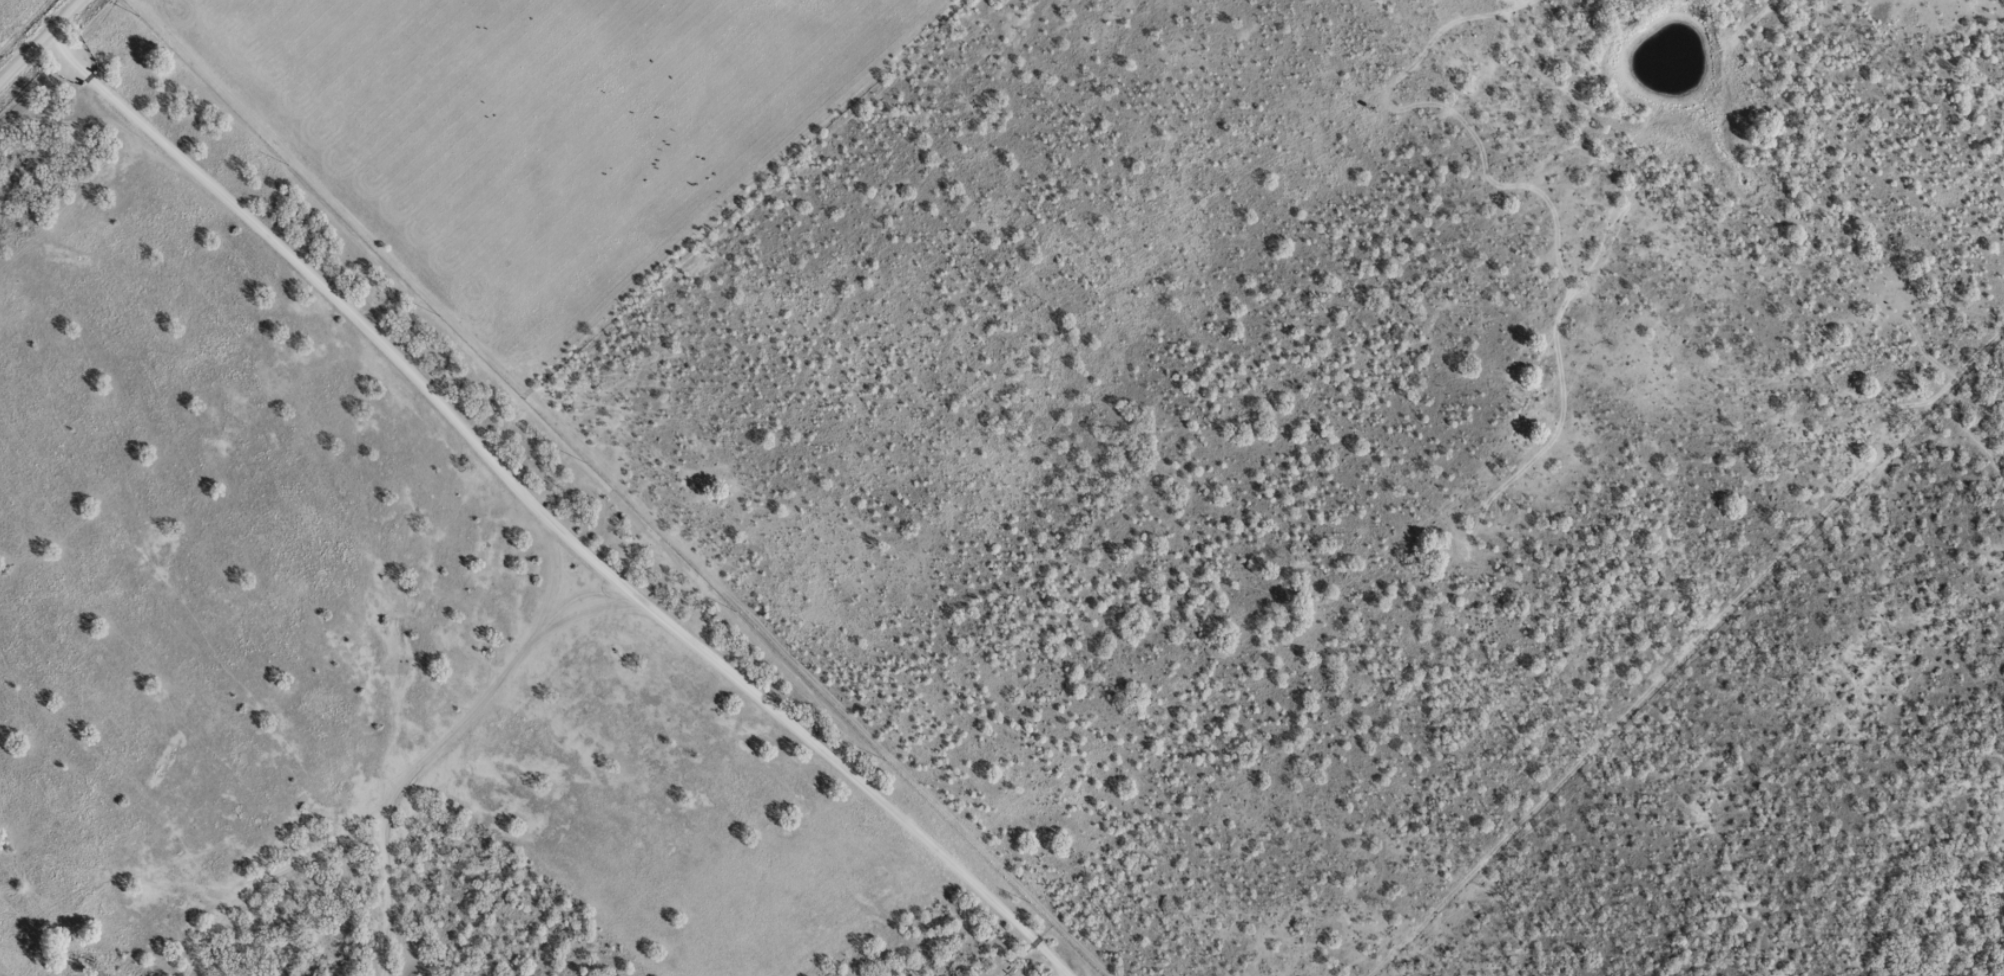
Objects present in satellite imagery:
road: (40, 49)
road: (534, 519)

